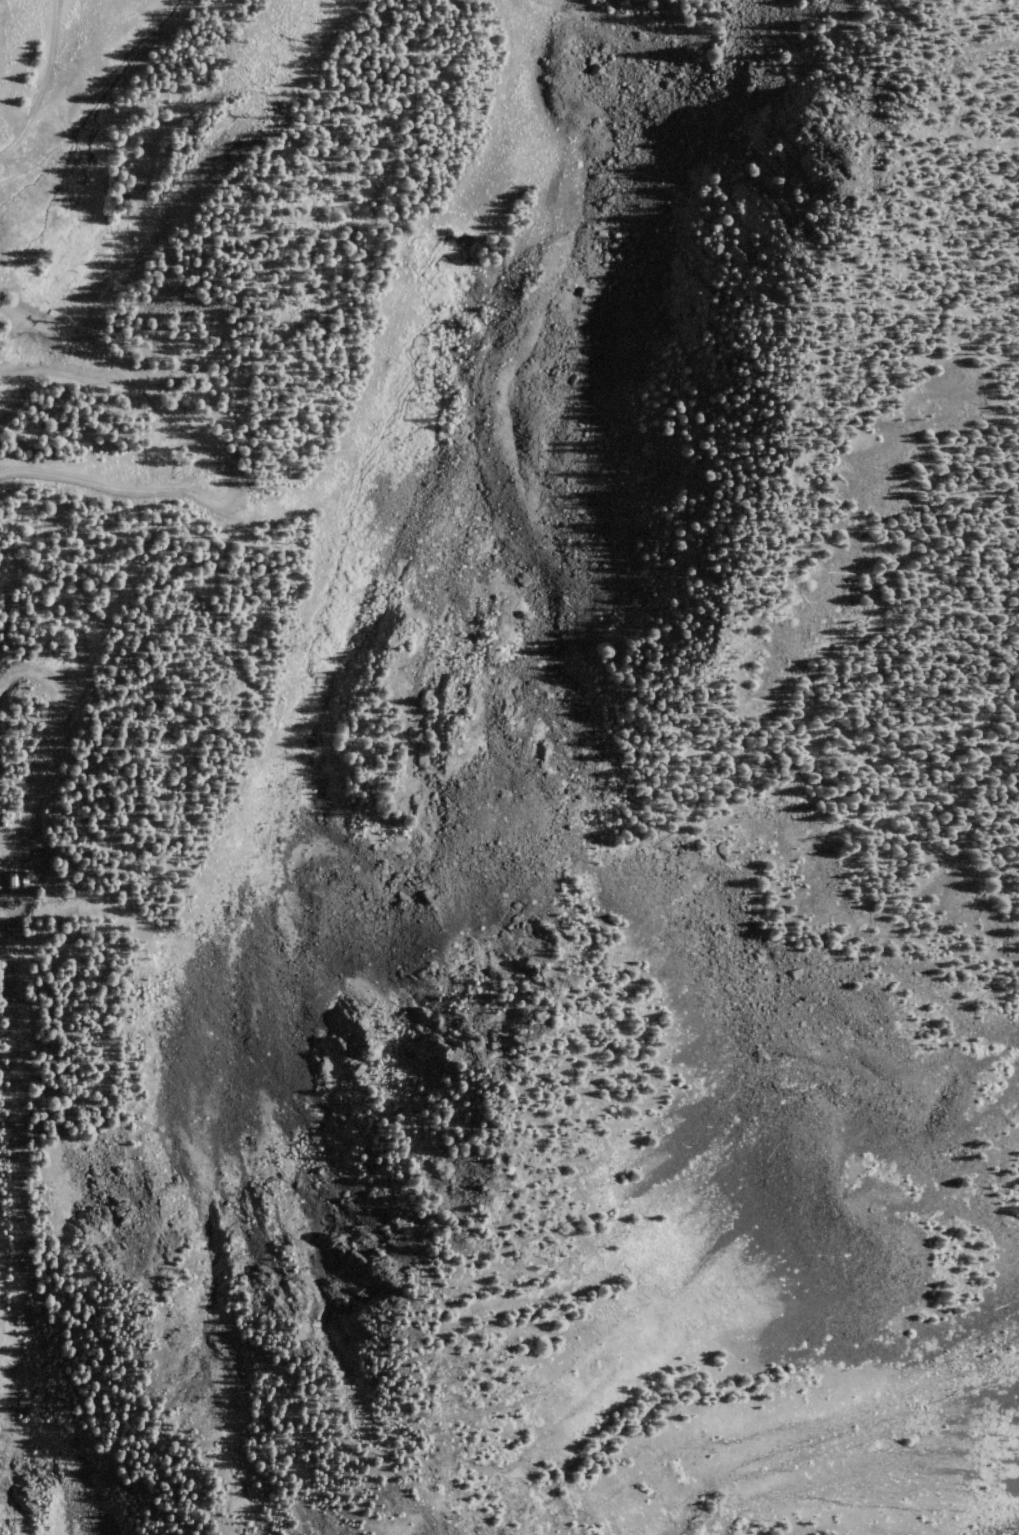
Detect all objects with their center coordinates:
aerialway pylon: (300, 31)
road: (47, 85)
aerialway pylon: (235, 105)
aerialway pylon: (156, 195)
aerialway pylon: (53, 312)
road: (216, 457)
road: (156, 627)
ski resort: (339, 654)
road: (55, 738)
building: (8, 822)
road: (1, 853)
building: (18, 881)
aerialway pylon: (22, 920)
aerialway pylon: (24, 1132)
aerialway pylon: (25, 1228)
aerialway pylon: (28, 1409)

